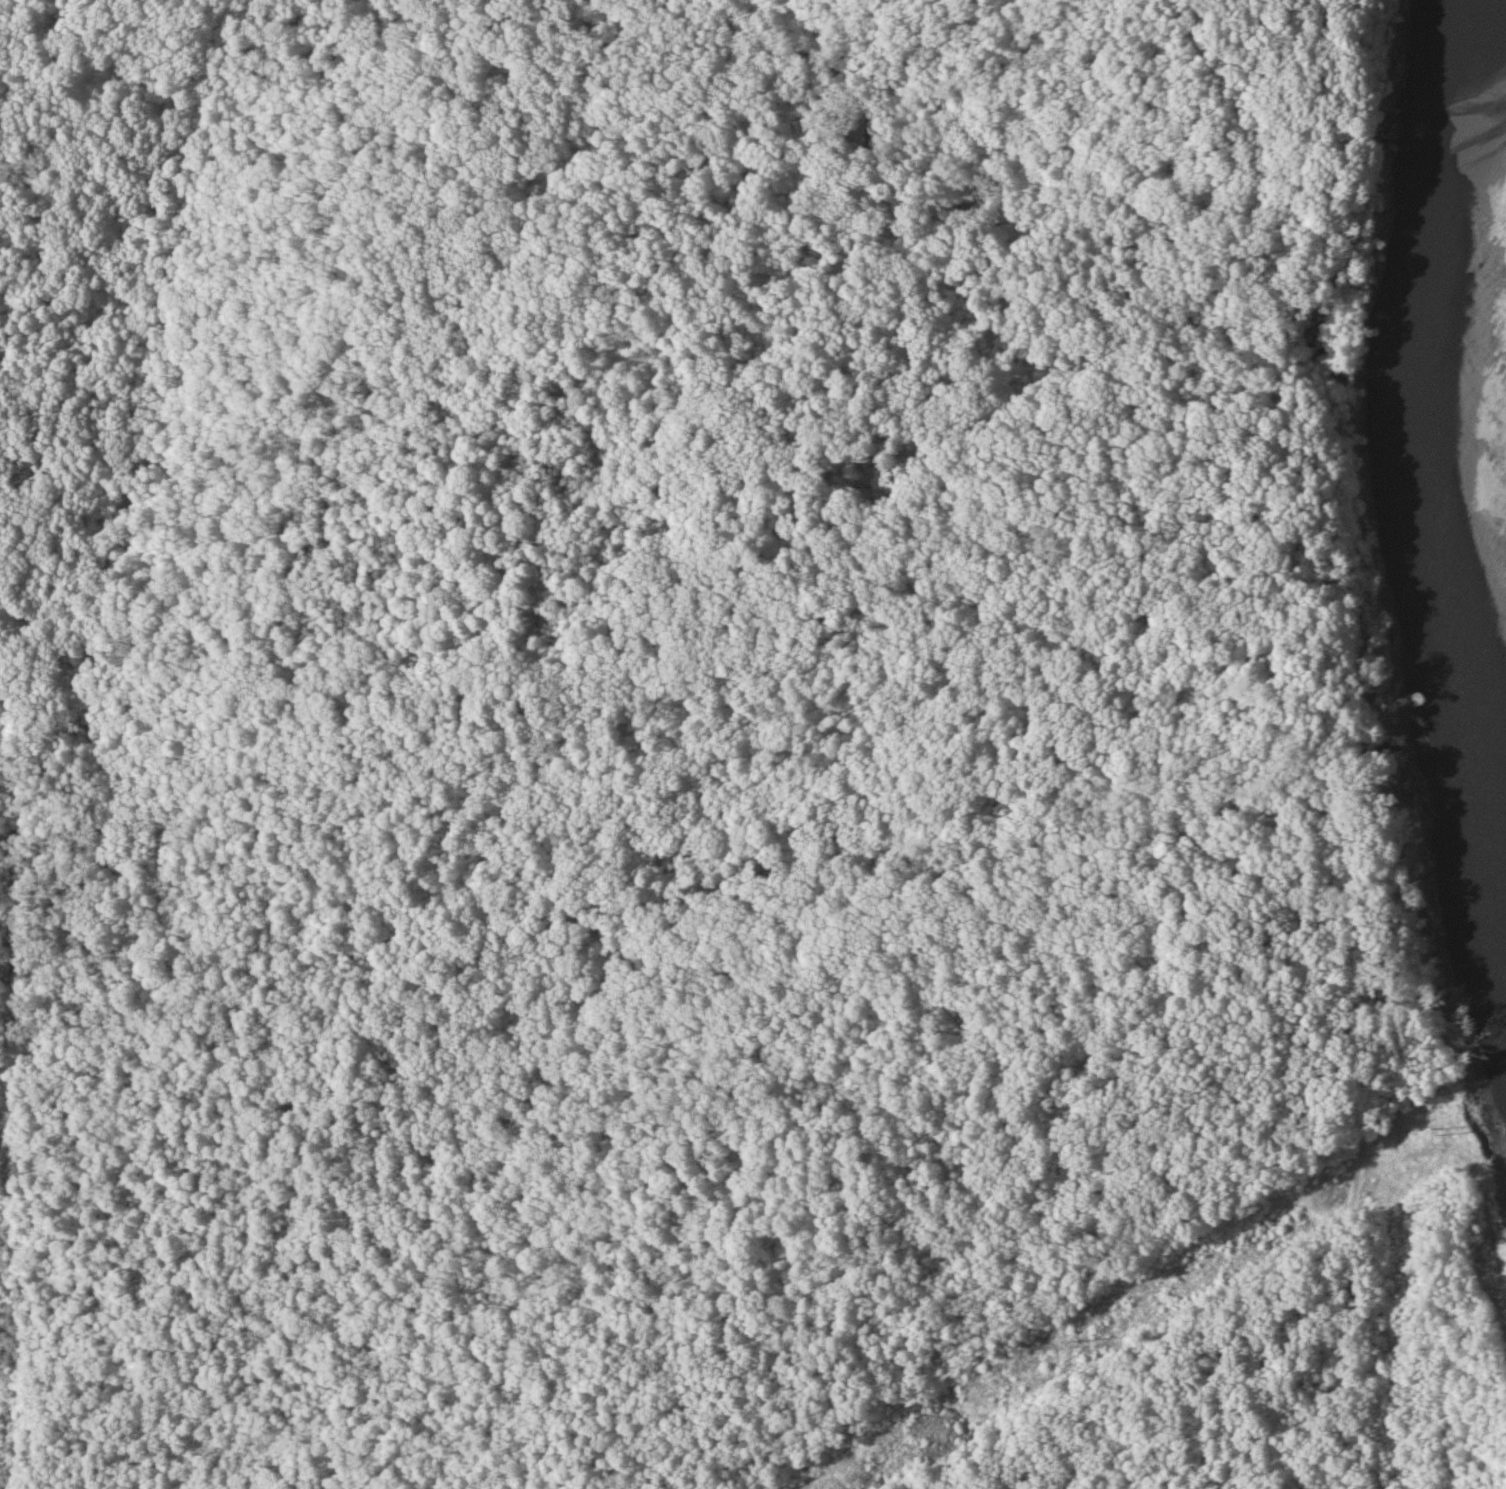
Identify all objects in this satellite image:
river: (1370, 528)
park: (712, 757)
road: (16, 1105)
power tower: (1439, 1128)
power tower: (1093, 1341)

